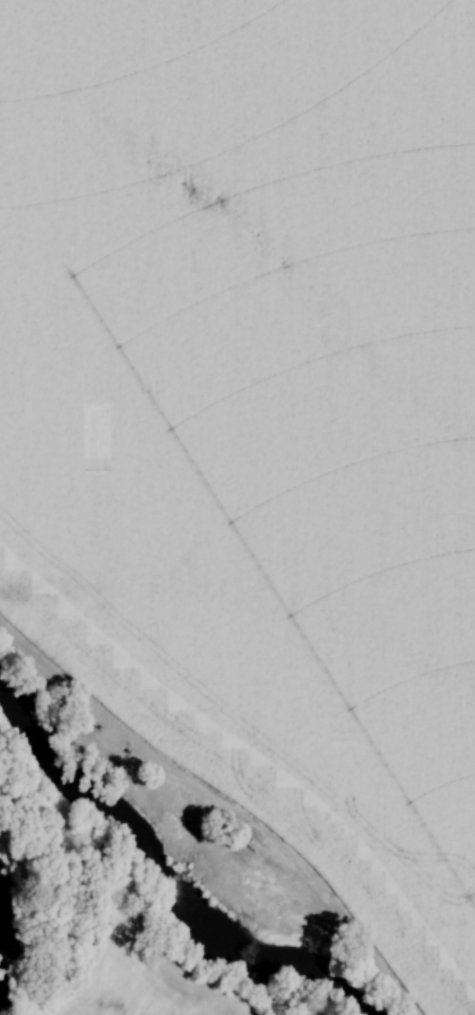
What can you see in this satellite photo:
river: (166, 870)
river: (4, 929)

